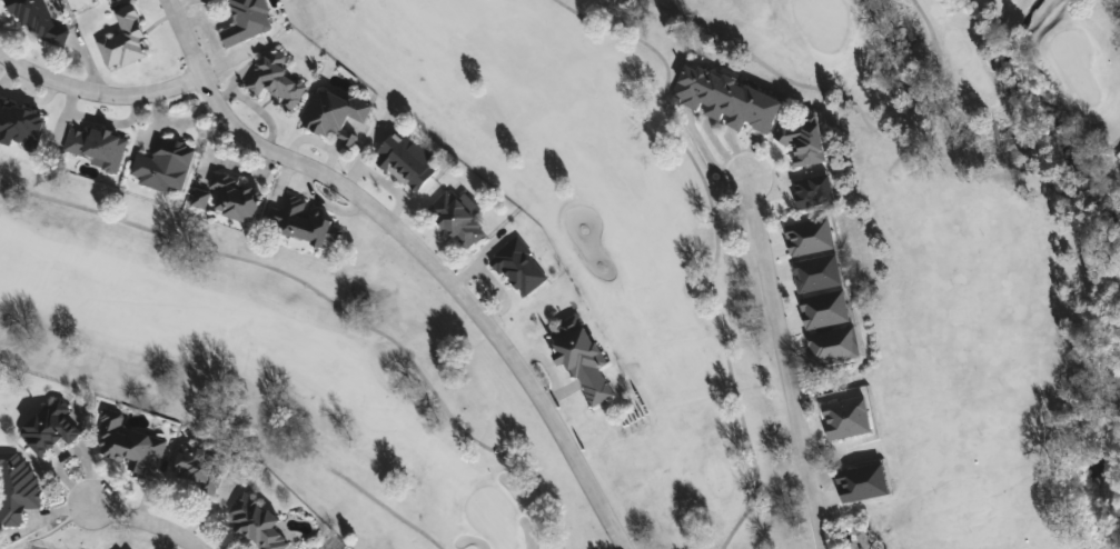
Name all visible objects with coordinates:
building: (38, 19)
building: (247, 20)
building: (125, 38)
building: (277, 78)
road: (98, 91)
building: (725, 98)
building: (336, 111)
building: (20, 123)
building: (802, 139)
building: (96, 144)
building: (406, 158)
building: (165, 163)
building: (813, 190)
building: (229, 196)
building: (462, 219)
building: (307, 223)
building: (809, 237)
road: (417, 248)
building: (519, 266)
building: (815, 272)
park: (671, 280)
park: (993, 300)
building: (823, 309)
building: (833, 346)
building: (581, 356)
park: (280, 363)
road: (789, 365)
building: (845, 418)
building: (50, 425)
building: (128, 440)
building: (197, 466)
building: (861, 482)
building: (17, 486)
road: (147, 521)
building: (256, 521)
building: (861, 540)
park: (0, 548)

